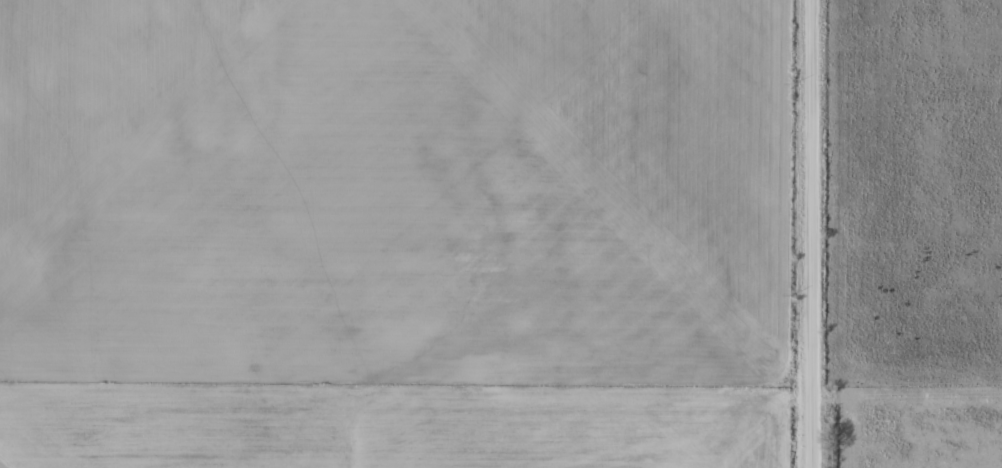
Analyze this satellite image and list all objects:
road: (816, 234)

